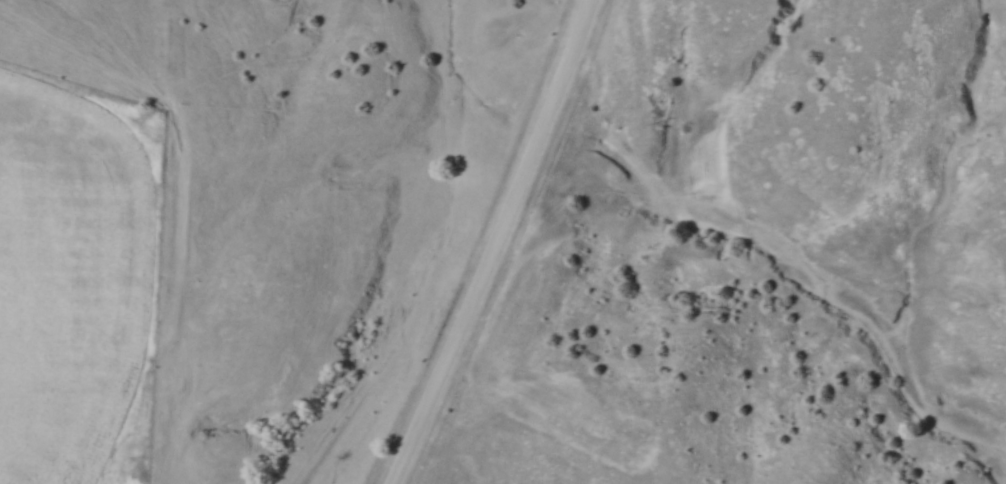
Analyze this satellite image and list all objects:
road: (498, 245)
crop: (71, 282)

